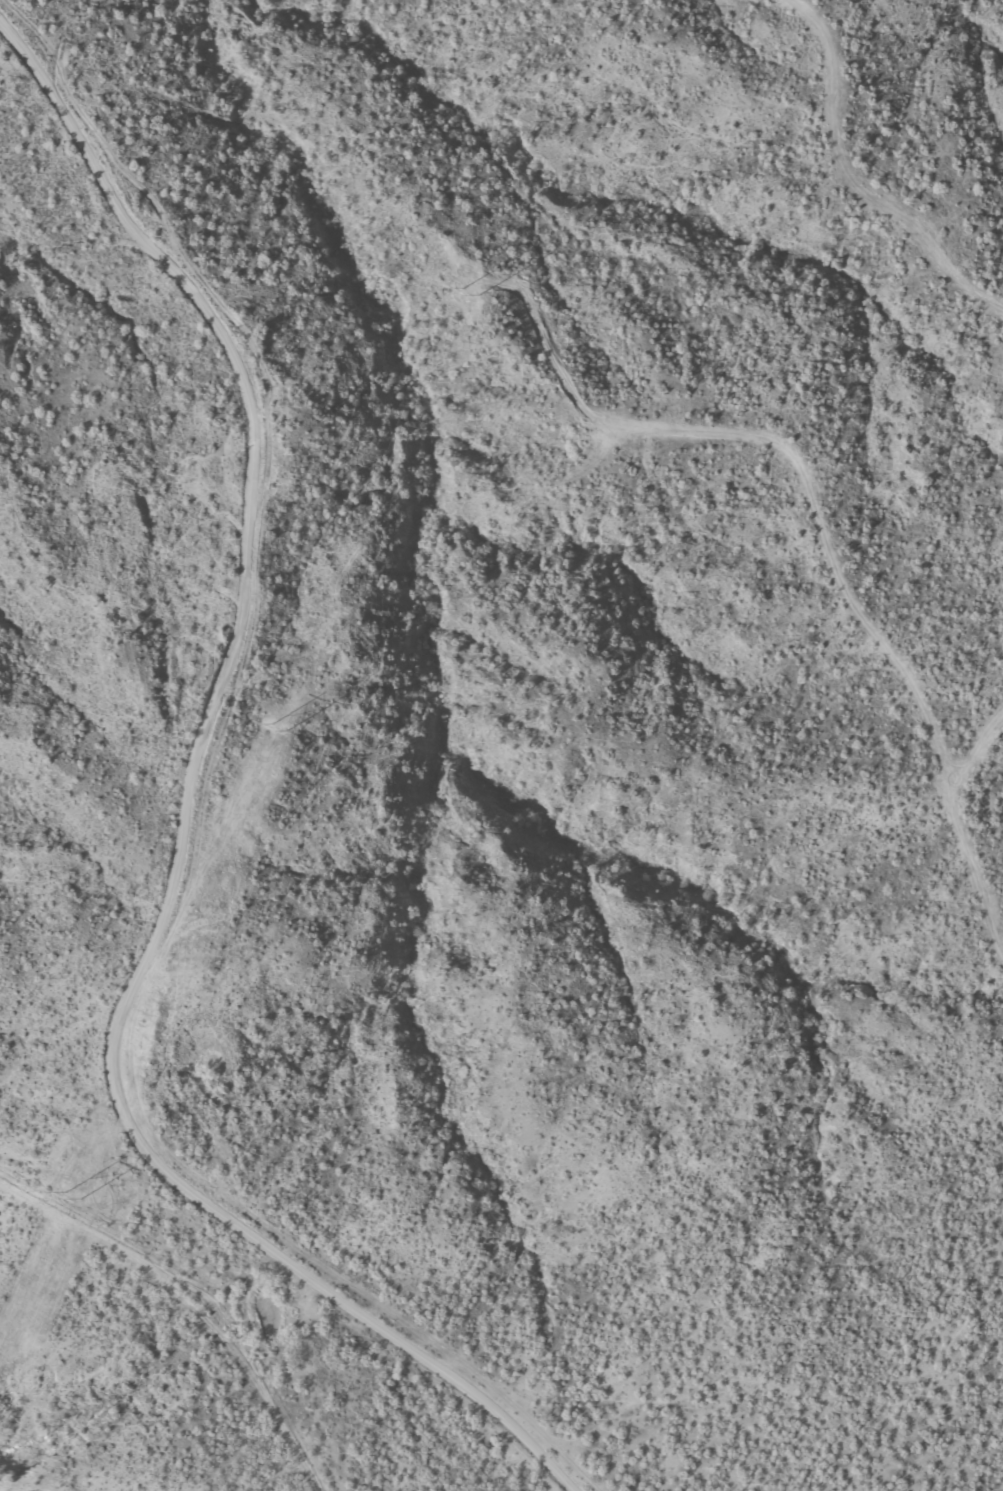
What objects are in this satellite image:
road: (154, 843)

